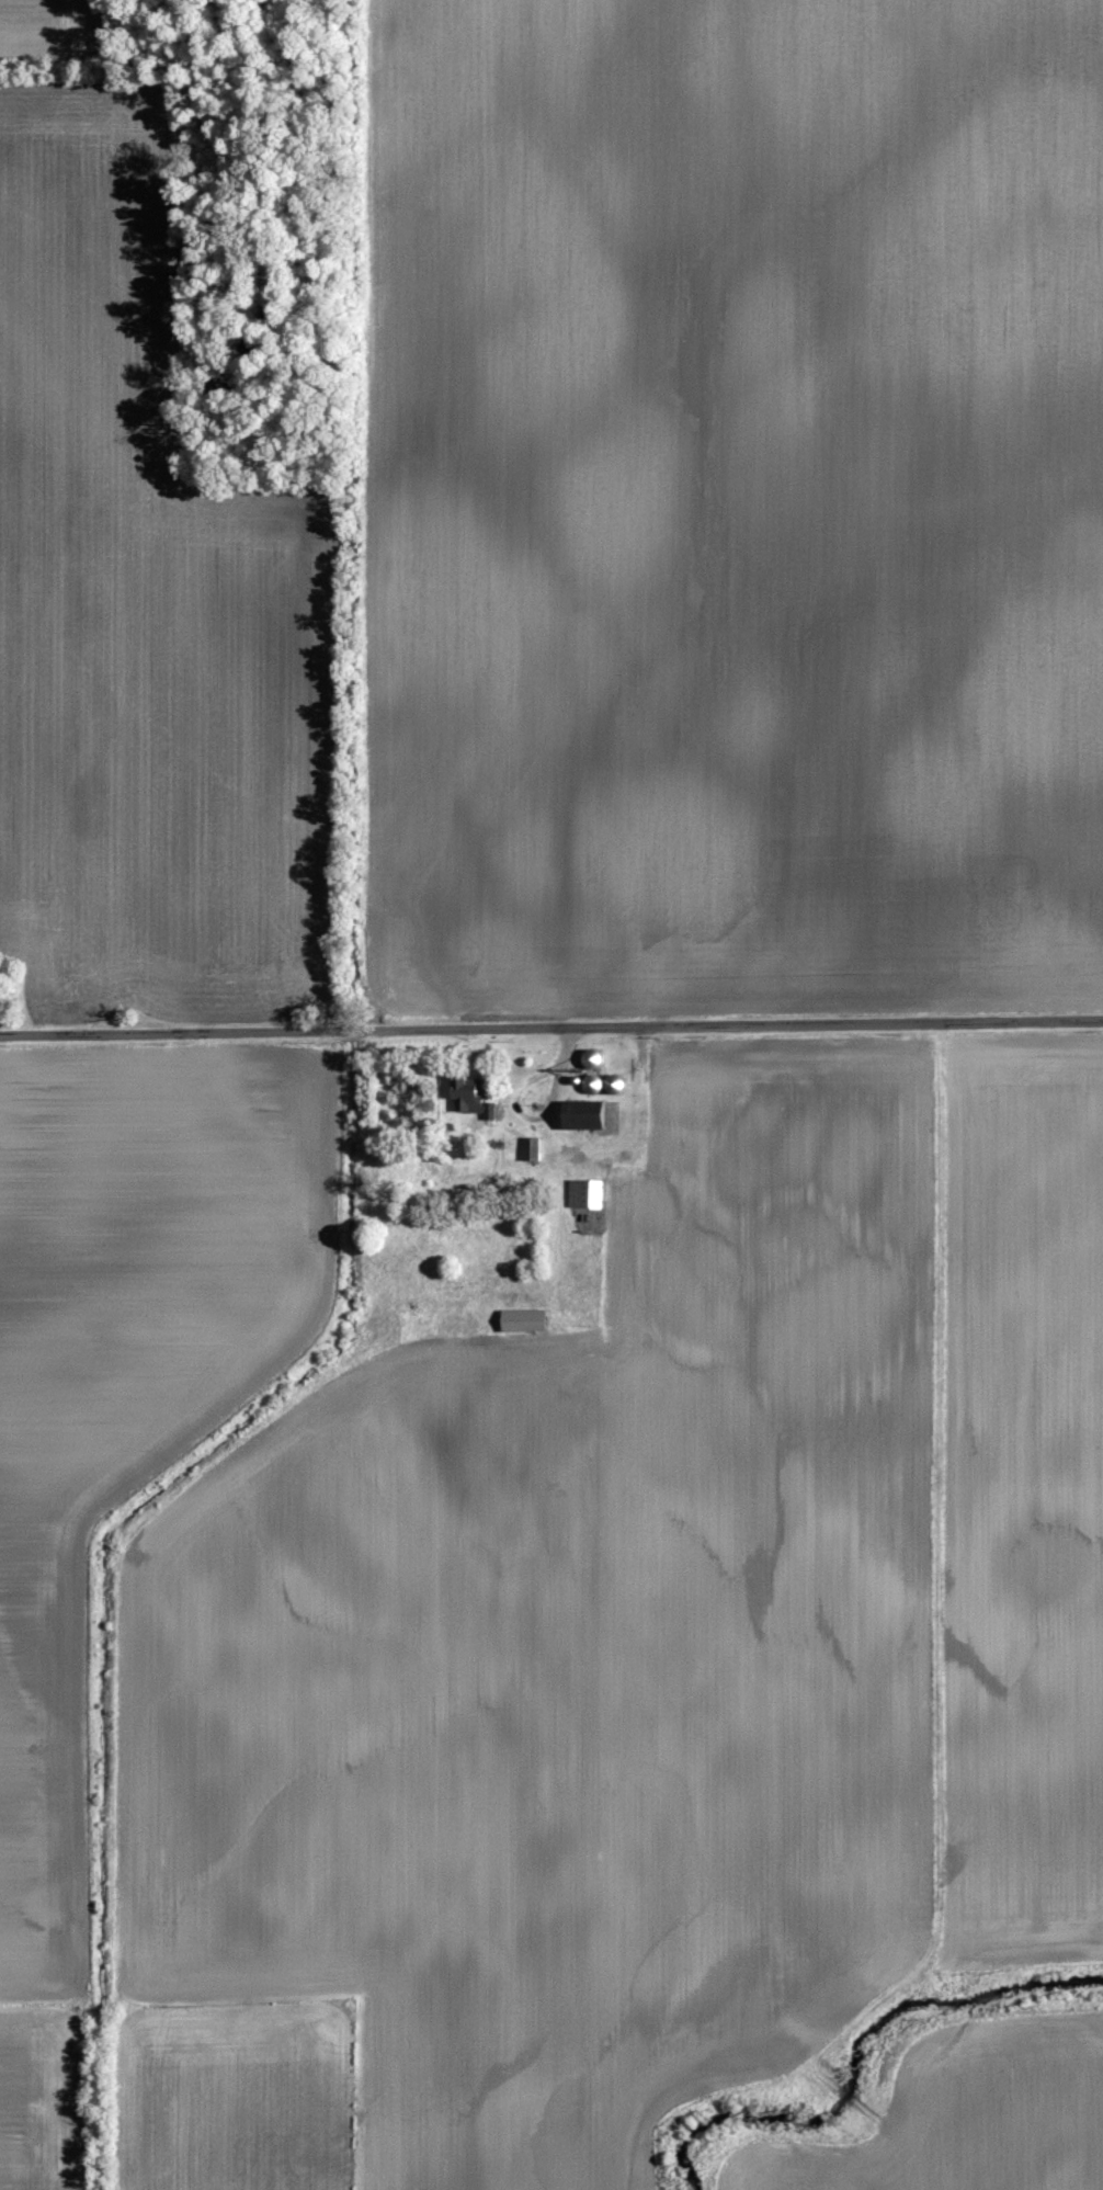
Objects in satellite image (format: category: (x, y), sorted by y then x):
road: (551, 1026)
building: (478, 1103)
building: (590, 1117)
building: (534, 1148)
building: (591, 1193)
building: (530, 1319)

